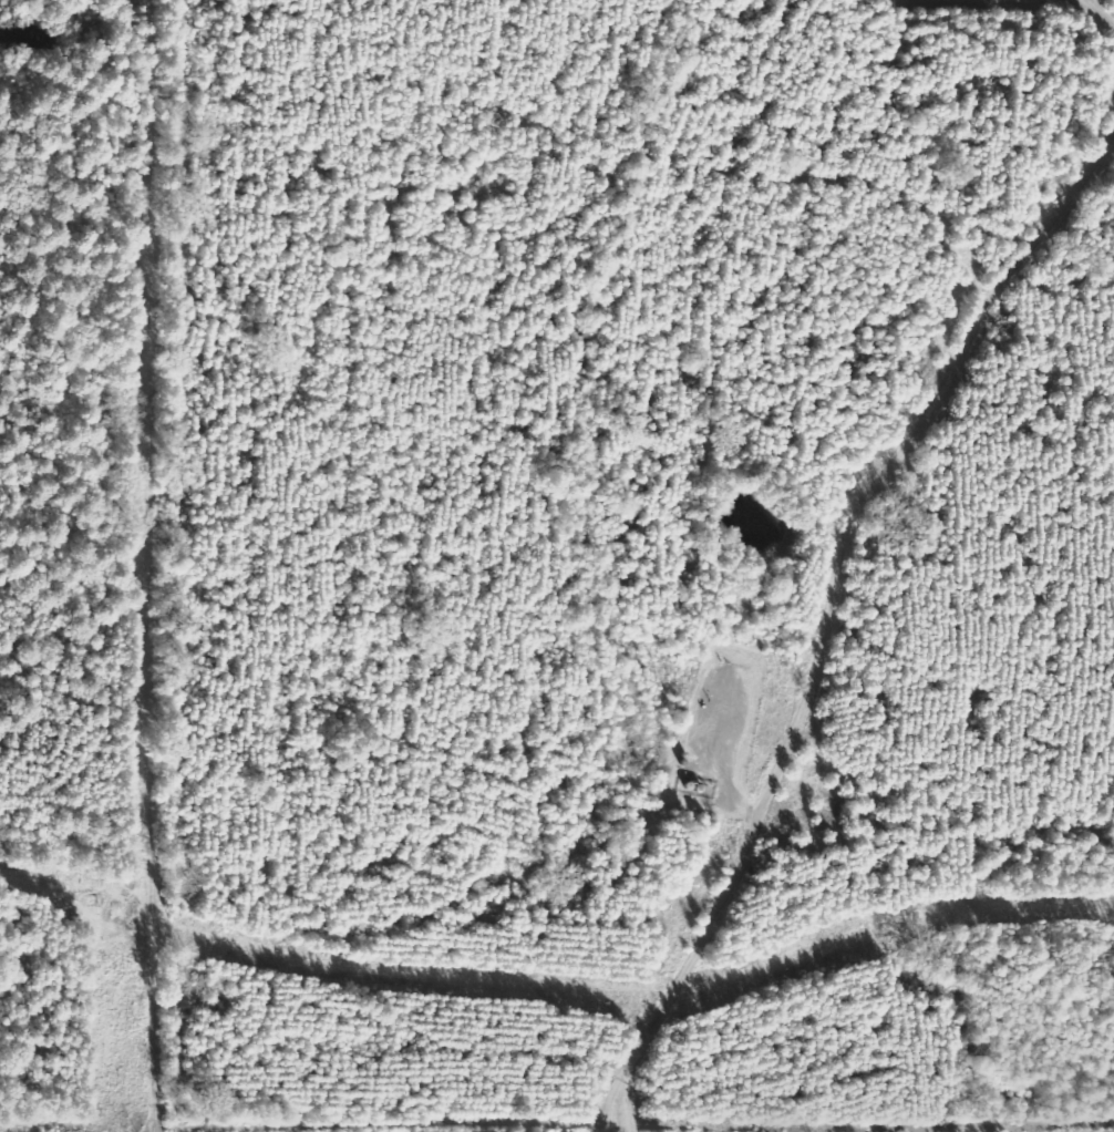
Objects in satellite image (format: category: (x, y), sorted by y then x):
road: (179, 442)

